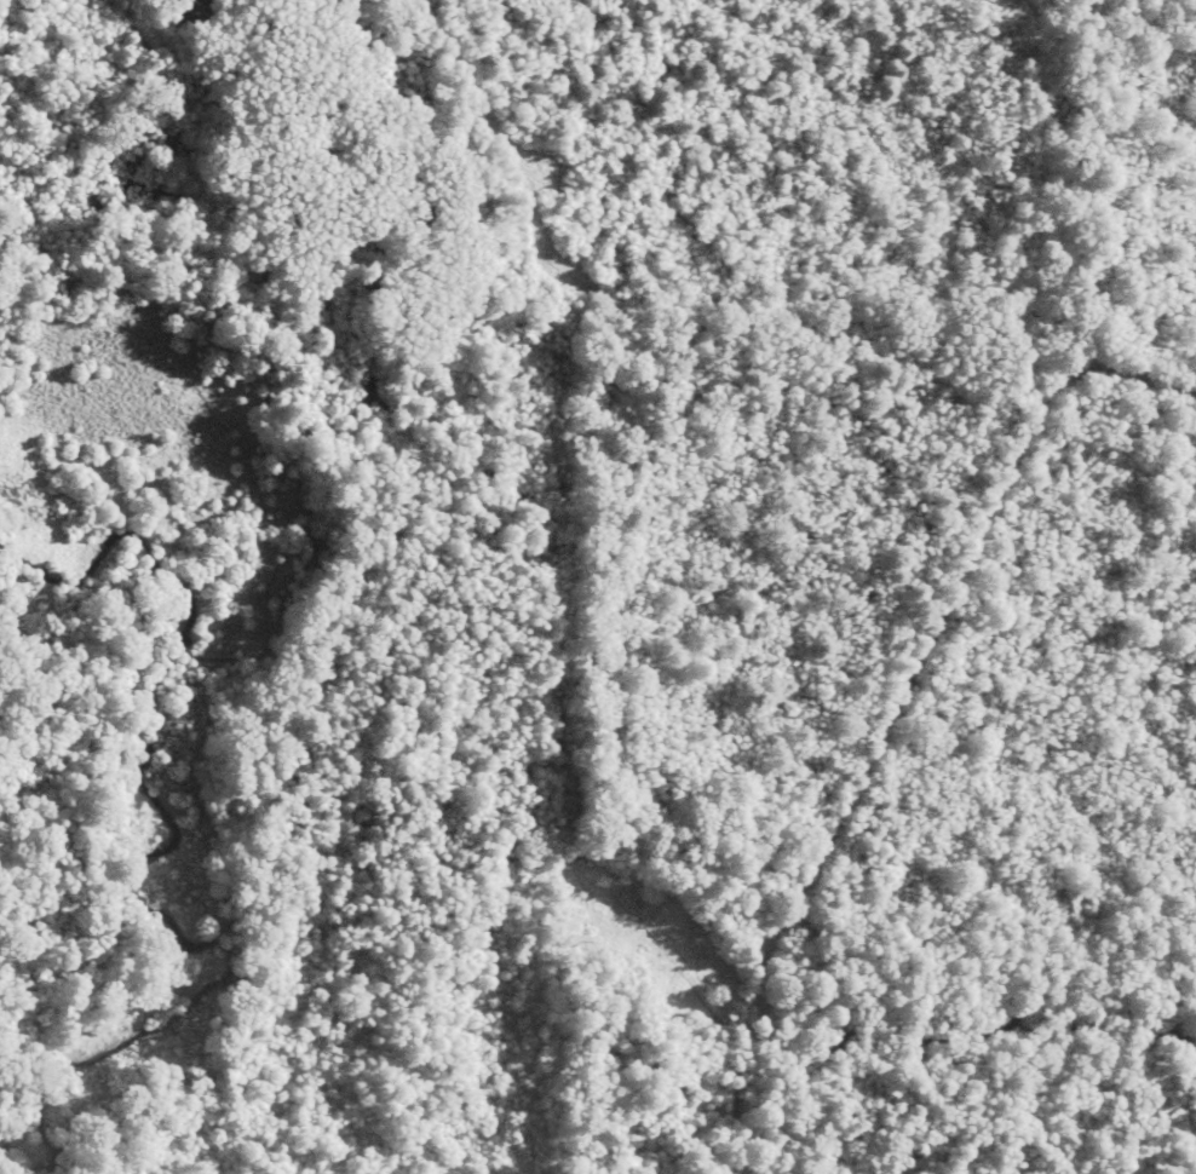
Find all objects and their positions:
road: (882, 709)

